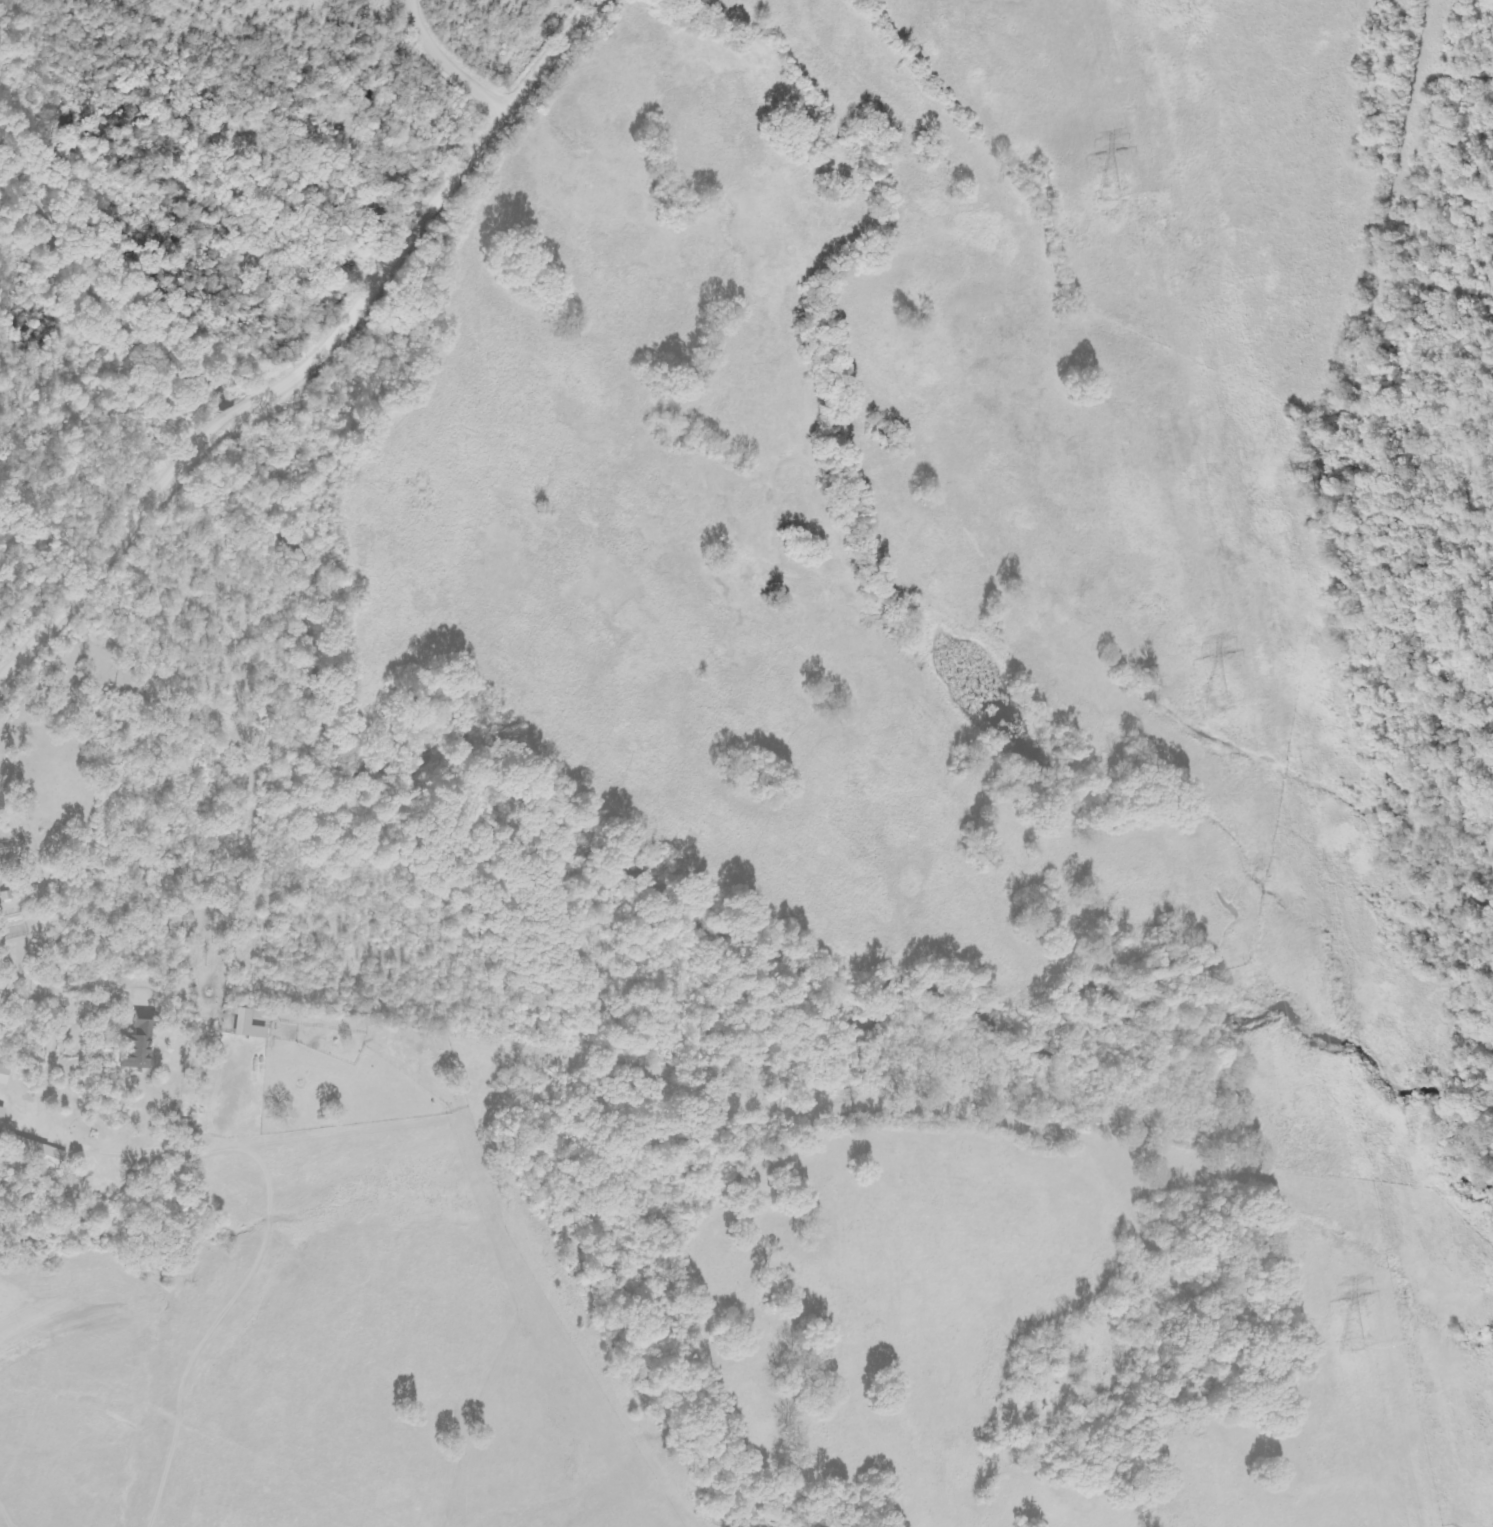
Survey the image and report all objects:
road: (453, 66)
power tower: (1106, 196)
road: (318, 360)
power tower: (1213, 700)
railway: (1351, 707)
building: (247, 1025)
building: (138, 1046)
building: (4, 1073)
building: (1, 1114)
building: (38, 1153)
power tower: (1349, 1343)

